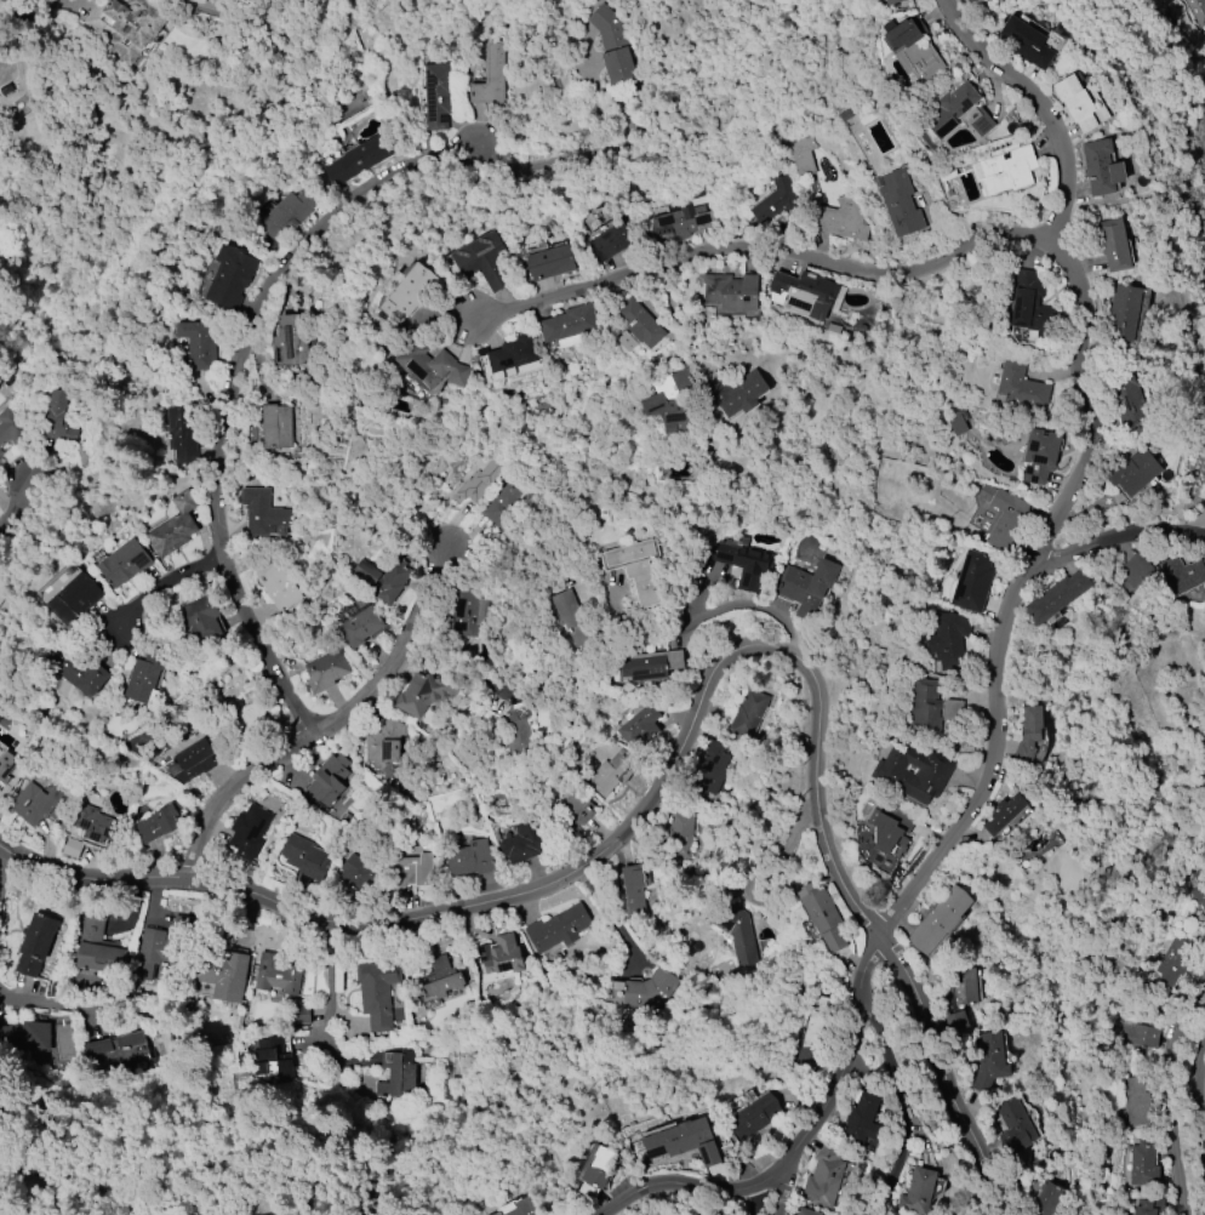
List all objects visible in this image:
building: (891, 1)
building: (973, 1)
building: (1197, 11)
building: (127, 27)
building: (1026, 42)
building: (612, 46)
building: (912, 49)
building: (493, 79)
building: (442, 96)
building: (1074, 103)
building: (952, 109)
building: (982, 122)
building: (803, 155)
building: (361, 160)
building: (1101, 167)
building: (1007, 170)
building: (775, 201)
building: (900, 204)
building: (290, 212)
building: (840, 219)
building: (679, 224)
building: (612, 241)
building: (1113, 245)
road: (763, 247)
building: (480, 261)
building: (549, 263)
building: (230, 276)
building: (406, 292)
building: (731, 292)
building: (807, 293)
building: (1030, 304)
building: (1124, 313)
building: (639, 323)
building: (567, 326)
building: (287, 342)
building: (626, 342)
building: (196, 343)
building: (510, 356)
building: (428, 366)
building: (1020, 387)
road: (228, 390)
building: (737, 393)
building: (1126, 394)
building: (670, 401)
building: (57, 417)
building: (959, 423)
building: (279, 427)
building: (8, 428)
building: (185, 435)
building: (0, 454)
building: (1040, 456)
building: (1132, 472)
building: (484, 480)
building: (507, 503)
road: (17, 506)
building: (264, 512)
building: (1004, 517)
building: (178, 525)
road: (452, 525)
road: (464, 537)
road: (1109, 538)
building: (743, 561)
building: (130, 563)
building: (635, 567)
road: (1022, 572)
building: (1181, 575)
building: (1127, 576)
building: (383, 580)
road: (162, 582)
building: (972, 582)
building: (276, 586)
building: (806, 587)
building: (2, 592)
building: (1057, 597)
building: (82, 598)
road: (744, 605)
building: (469, 614)
building: (571, 617)
building: (201, 621)
building: (359, 626)
building: (948, 640)
building: (651, 664)
building: (327, 671)
building: (86, 674)
building: (147, 678)
building: (421, 696)
building: (931, 708)
building: (748, 713)
building: (252, 717)
road: (329, 725)
building: (640, 726)
building: (516, 729)
building: (1028, 735)
building: (384, 745)
building: (190, 761)
building: (710, 769)
building: (610, 772)
building: (913, 772)
building: (7, 774)
building: (330, 780)
building: (40, 803)
building: (576, 811)
building: (1004, 814)
building: (96, 825)
building: (156, 825)
building: (890, 826)
building: (250, 831)
building: (681, 833)
building: (522, 843)
building: (878, 852)
road: (594, 856)
building: (307, 859)
building: (470, 859)
building: (359, 872)
building: (412, 872)
road: (2, 880)
building: (635, 889)
building: (1195, 901)
road: (152, 907)
building: (823, 917)
building: (935, 923)
building: (558, 929)
building: (735, 930)
building: (41, 945)
building: (169, 948)
building: (104, 949)
building: (501, 956)
building: (1172, 962)
building: (228, 974)
building: (282, 975)
building: (442, 979)
road: (335, 983)
building: (961, 987)
building: (649, 991)
building: (378, 992)
road: (39, 1004)
building: (28, 1034)
building: (815, 1034)
building: (1133, 1036)
building: (63, 1043)
building: (126, 1050)
building: (275, 1059)
building: (988, 1060)
building: (398, 1072)
road: (938, 1073)
road: (1167, 1094)
road: (1197, 1097)
building: (1135, 1101)
road: (902, 1111)
building: (753, 1117)
building: (861, 1120)
building: (1015, 1128)
building: (683, 1142)
building: (1142, 1164)
building: (599, 1168)
building: (823, 1177)
road: (784, 1182)
road: (698, 1187)
building: (918, 1192)
building: (1041, 1198)
road: (753, 1199)
building: (1149, 1207)
building: (519, 1208)
building: (806, 1211)
building: (285, 1214)

